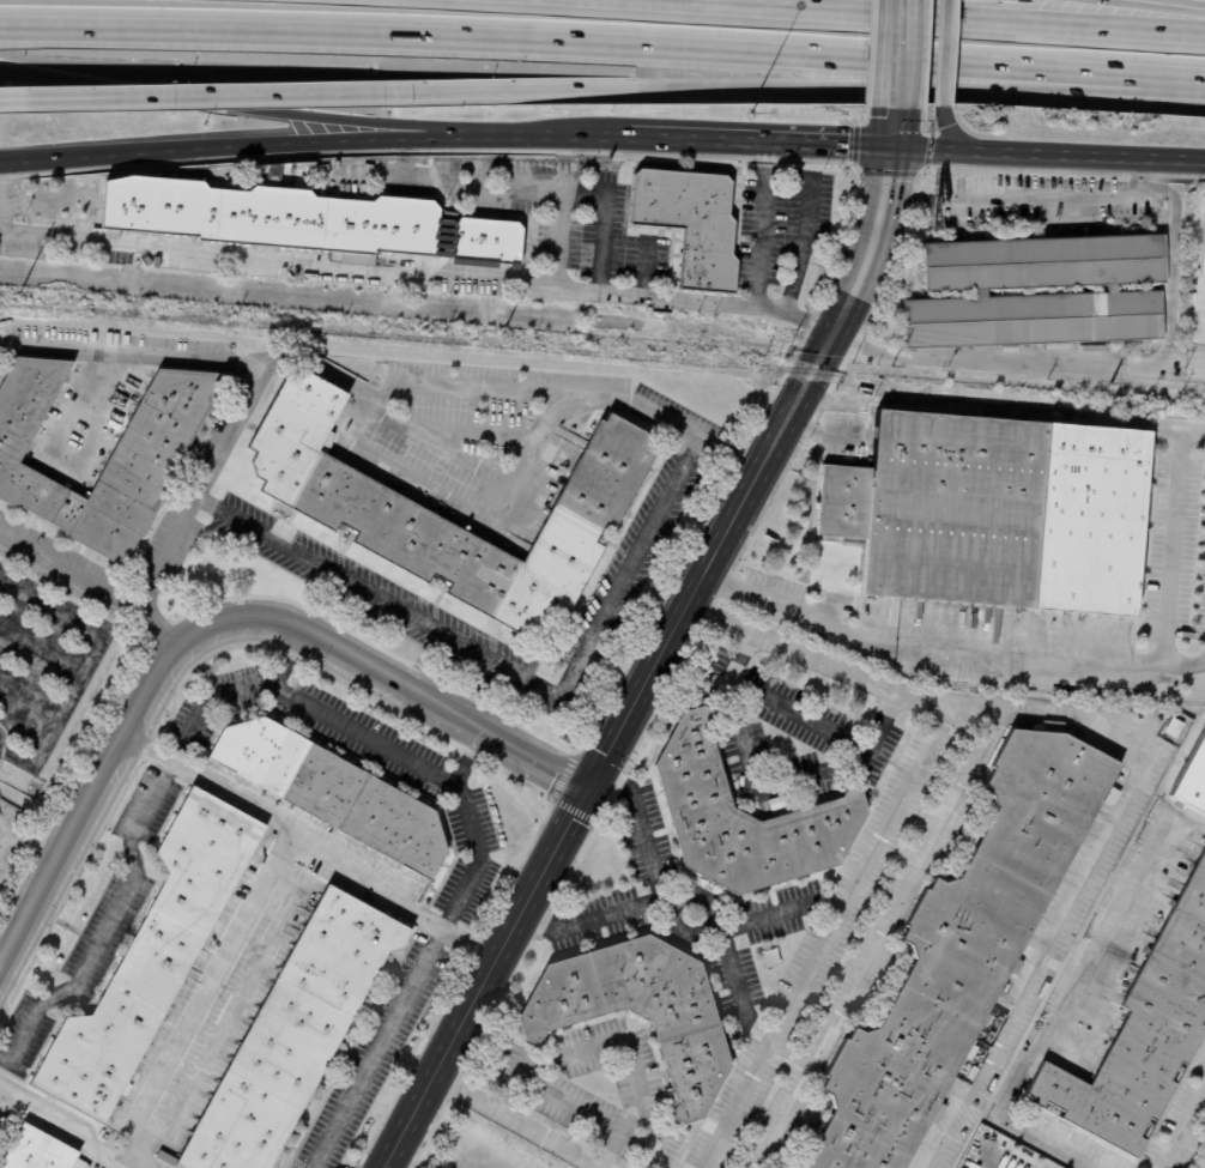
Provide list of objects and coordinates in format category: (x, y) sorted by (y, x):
road: (1161, 6)
road: (941, 19)
road: (567, 43)
road: (897, 53)
road: (944, 53)
road: (1169, 81)
road: (826, 87)
road: (465, 91)
road: (205, 98)
road: (236, 107)
road: (892, 127)
road: (547, 135)
road: (955, 137)
road: (757, 141)
traffic signals: (892, 147)
road: (236, 149)
road: (1048, 157)
road: (789, 173)
road: (561, 194)
road: (1046, 196)
road: (904, 198)
building: (274, 217)
building: (692, 224)
building: (1201, 238)
road: (555, 241)
building: (489, 242)
road: (871, 248)
building: (147, 260)
road: (642, 265)
road: (412, 273)
road: (1168, 277)
building: (1035, 292)
road: (1204, 340)
railway: (601, 355)
road: (995, 357)
road: (1186, 358)
road: (259, 368)
road: (323, 369)
road: (437, 383)
building: (168, 428)
road: (65, 466)
road: (424, 480)
building: (945, 507)
building: (398, 526)
road: (1169, 553)
road: (706, 564)
road: (66, 569)
road: (155, 627)
road: (924, 654)
road: (168, 659)
road: (285, 659)
road: (504, 665)
road: (84, 673)
road: (798, 713)
building: (1171, 727)
road: (370, 739)
road: (1144, 740)
road: (467, 757)
road: (531, 757)
building: (1192, 779)
traffic signals: (586, 788)
road: (765, 791)
building: (334, 794)
building: (775, 803)
building: (747, 819)
road: (638, 825)
road: (30, 835)
road: (6, 837)
road: (302, 851)
road: (688, 895)
road: (776, 910)
road: (108, 930)
road: (821, 936)
road: (878, 939)
building: (963, 952)
building: (155, 957)
road: (484, 978)
road: (1066, 994)
building: (642, 1010)
road: (206, 1013)
building: (296, 1036)
building: (1140, 1042)
road: (616, 1043)
road: (375, 1047)
road: (568, 1105)
road: (516, 1121)
road: (1181, 1124)
building: (41, 1152)
building: (665, 1158)

